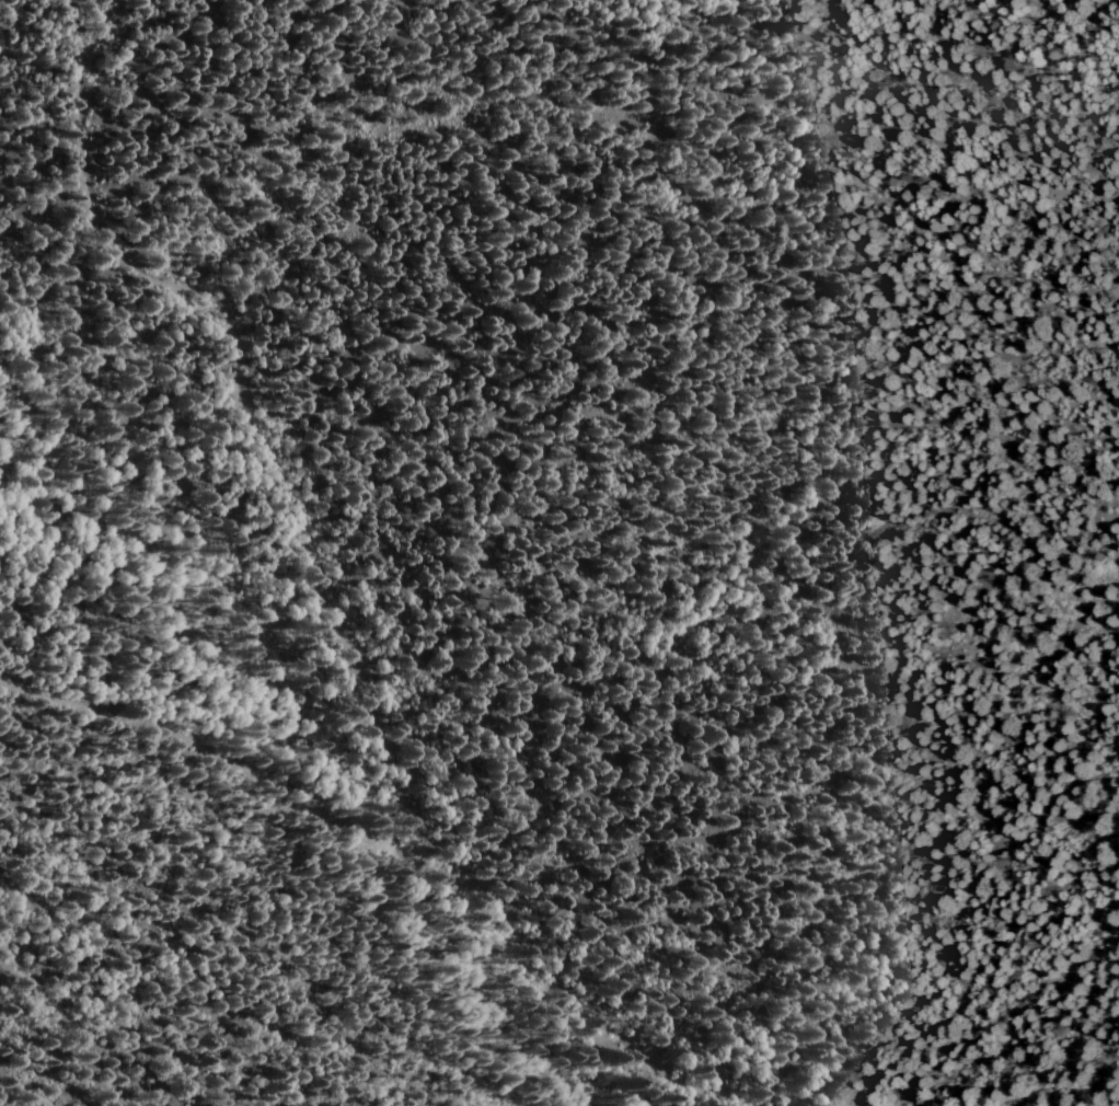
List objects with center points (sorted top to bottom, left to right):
road: (62, 1016)
road: (660, 1069)

